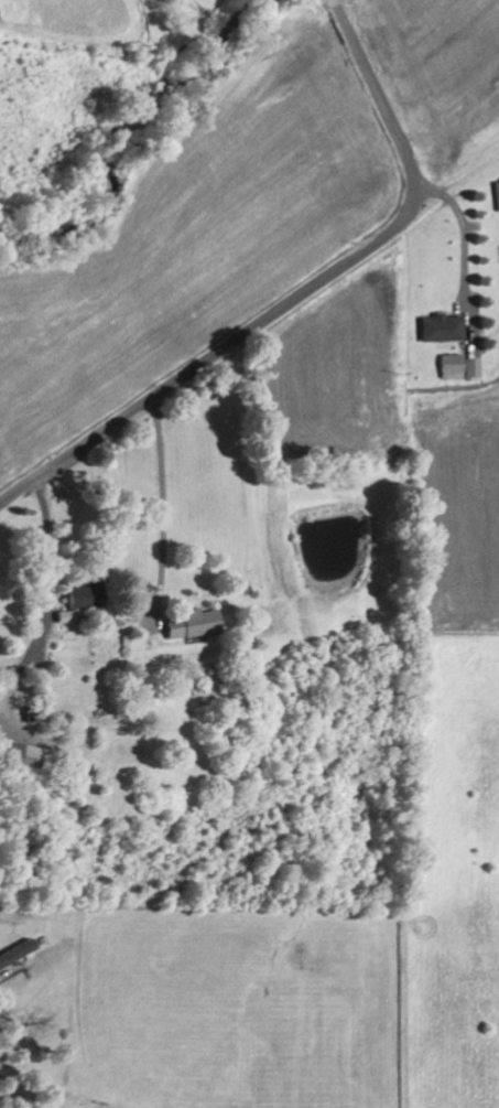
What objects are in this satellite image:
road: (299, 294)
building: (443, 327)
building: (462, 364)
building: (84, 592)
building: (193, 623)
building: (22, 754)
building: (18, 953)

